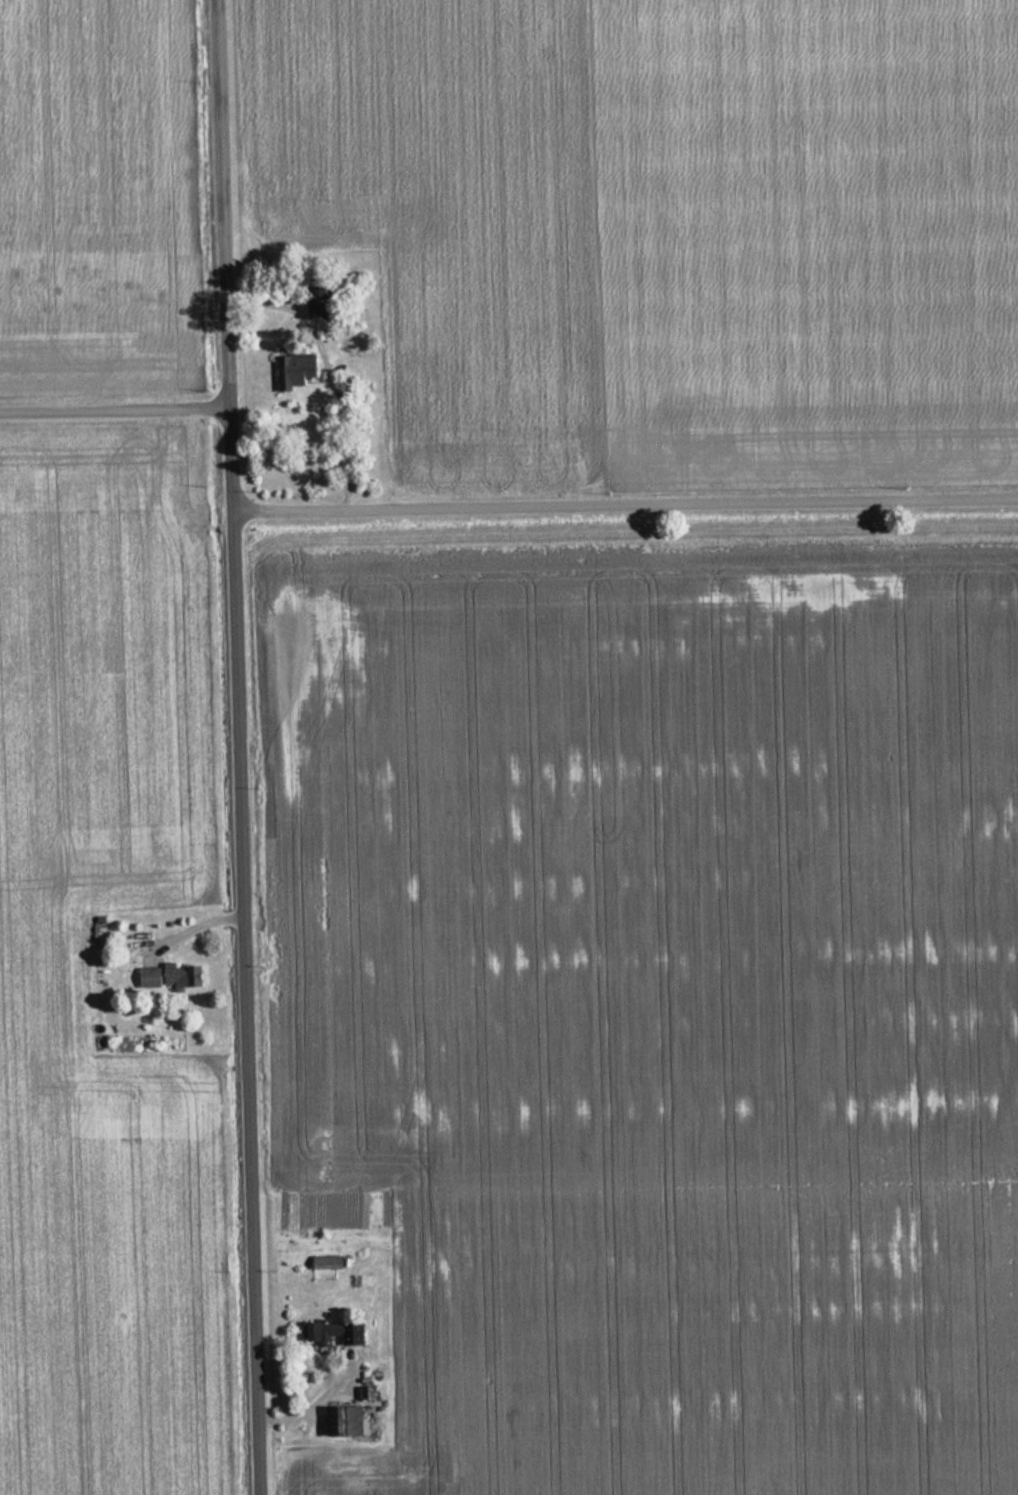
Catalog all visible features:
crop: (96, 188)
crop: (662, 224)
building: (318, 301)
building: (293, 370)
road: (114, 409)
road: (626, 507)
road: (238, 747)
building: (180, 975)
building: (151, 977)
crop: (658, 1007)
building: (328, 1333)

